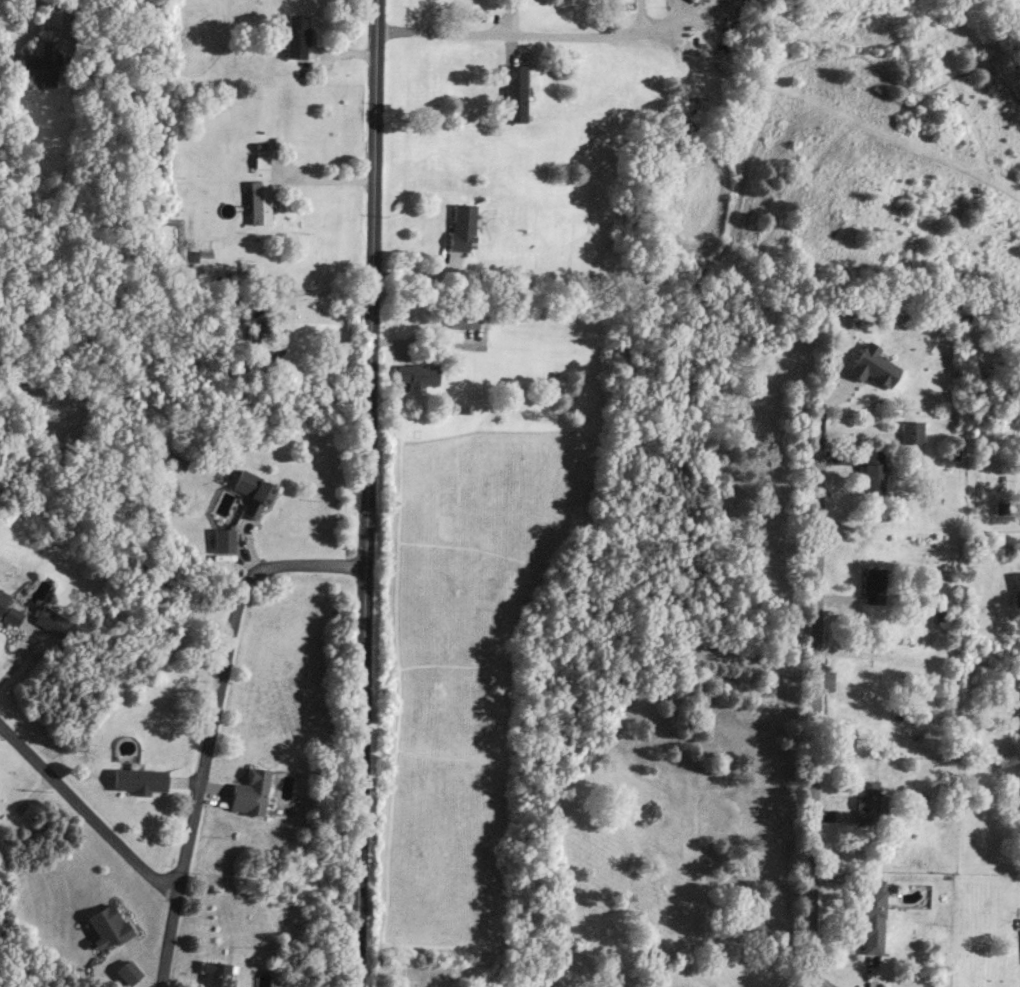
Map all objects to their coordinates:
road: (645, 13)
road: (659, 22)
road: (492, 32)
building: (299, 36)
building: (701, 38)
building: (43, 64)
building: (517, 93)
building: (261, 200)
building: (465, 225)
road: (316, 296)
building: (465, 316)
building: (894, 323)
building: (271, 341)
building: (419, 371)
building: (913, 430)
building: (876, 470)
building: (255, 491)
road: (366, 493)
building: (225, 539)
building: (875, 584)
building: (1017, 587)
building: (3, 598)
building: (13, 613)
building: (55, 621)
road: (27, 659)
building: (866, 692)
road: (816, 693)
road: (211, 722)
building: (141, 778)
building: (251, 791)
building: (868, 801)
road: (84, 811)
building: (873, 920)
building: (111, 924)
building: (130, 972)
building: (217, 974)

